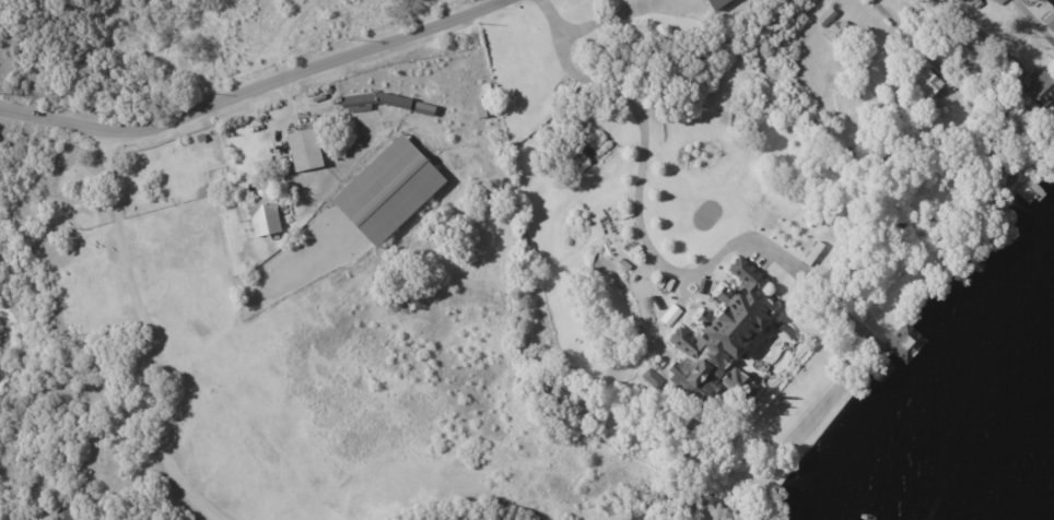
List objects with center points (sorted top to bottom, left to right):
building: (699, 0)
building: (999, 2)
building: (974, 3)
building: (716, 4)
road: (553, 17)
road: (608, 19)
building: (824, 19)
building: (1051, 26)
road: (972, 27)
building: (841, 33)
road: (914, 44)
building: (927, 85)
road: (250, 88)
building: (1041, 88)
building: (970, 101)
building: (481, 102)
building: (383, 103)
road: (280, 110)
building: (1014, 118)
building: (885, 150)
building: (302, 152)
road: (641, 152)
building: (1029, 191)
building: (386, 193)
building: (262, 214)
building: (726, 320)
road: (145, 336)
building: (652, 379)
building: (737, 386)

